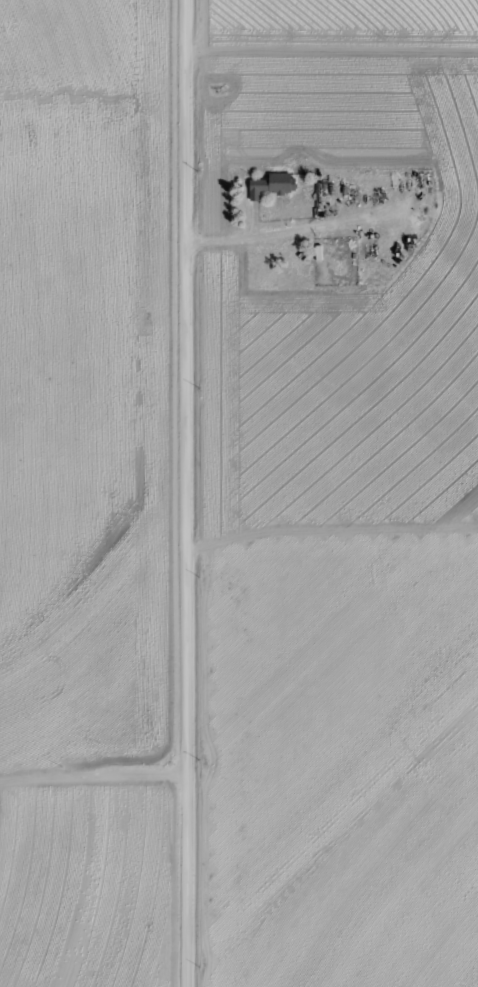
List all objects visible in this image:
building: (269, 185)
road: (183, 493)
road: (91, 779)

